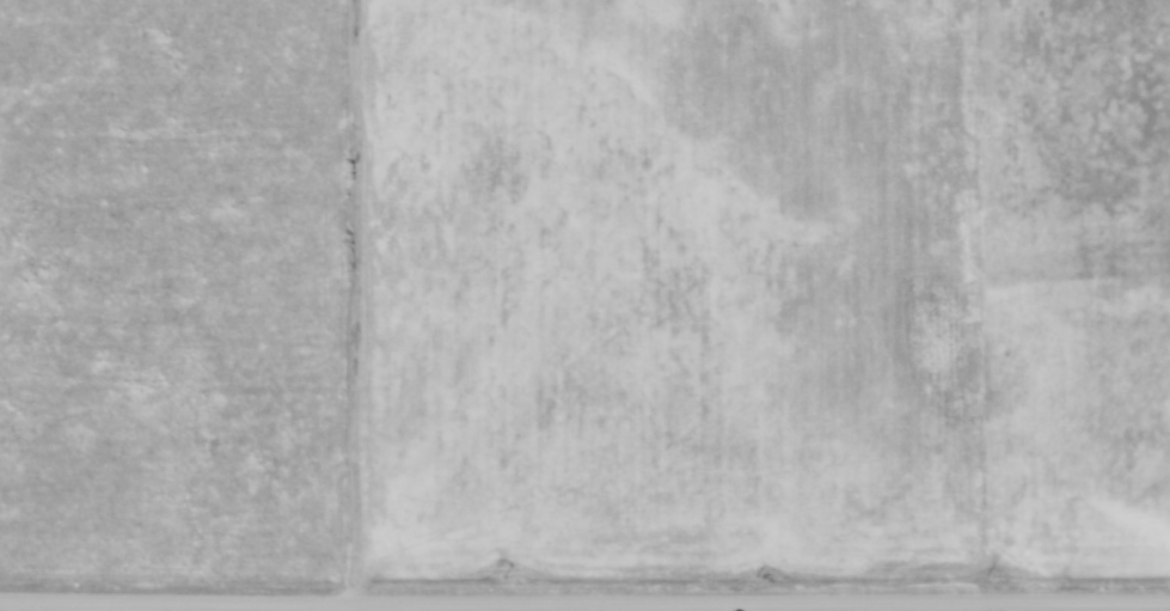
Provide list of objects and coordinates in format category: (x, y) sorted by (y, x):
road: (363, 303)
road: (584, 605)

